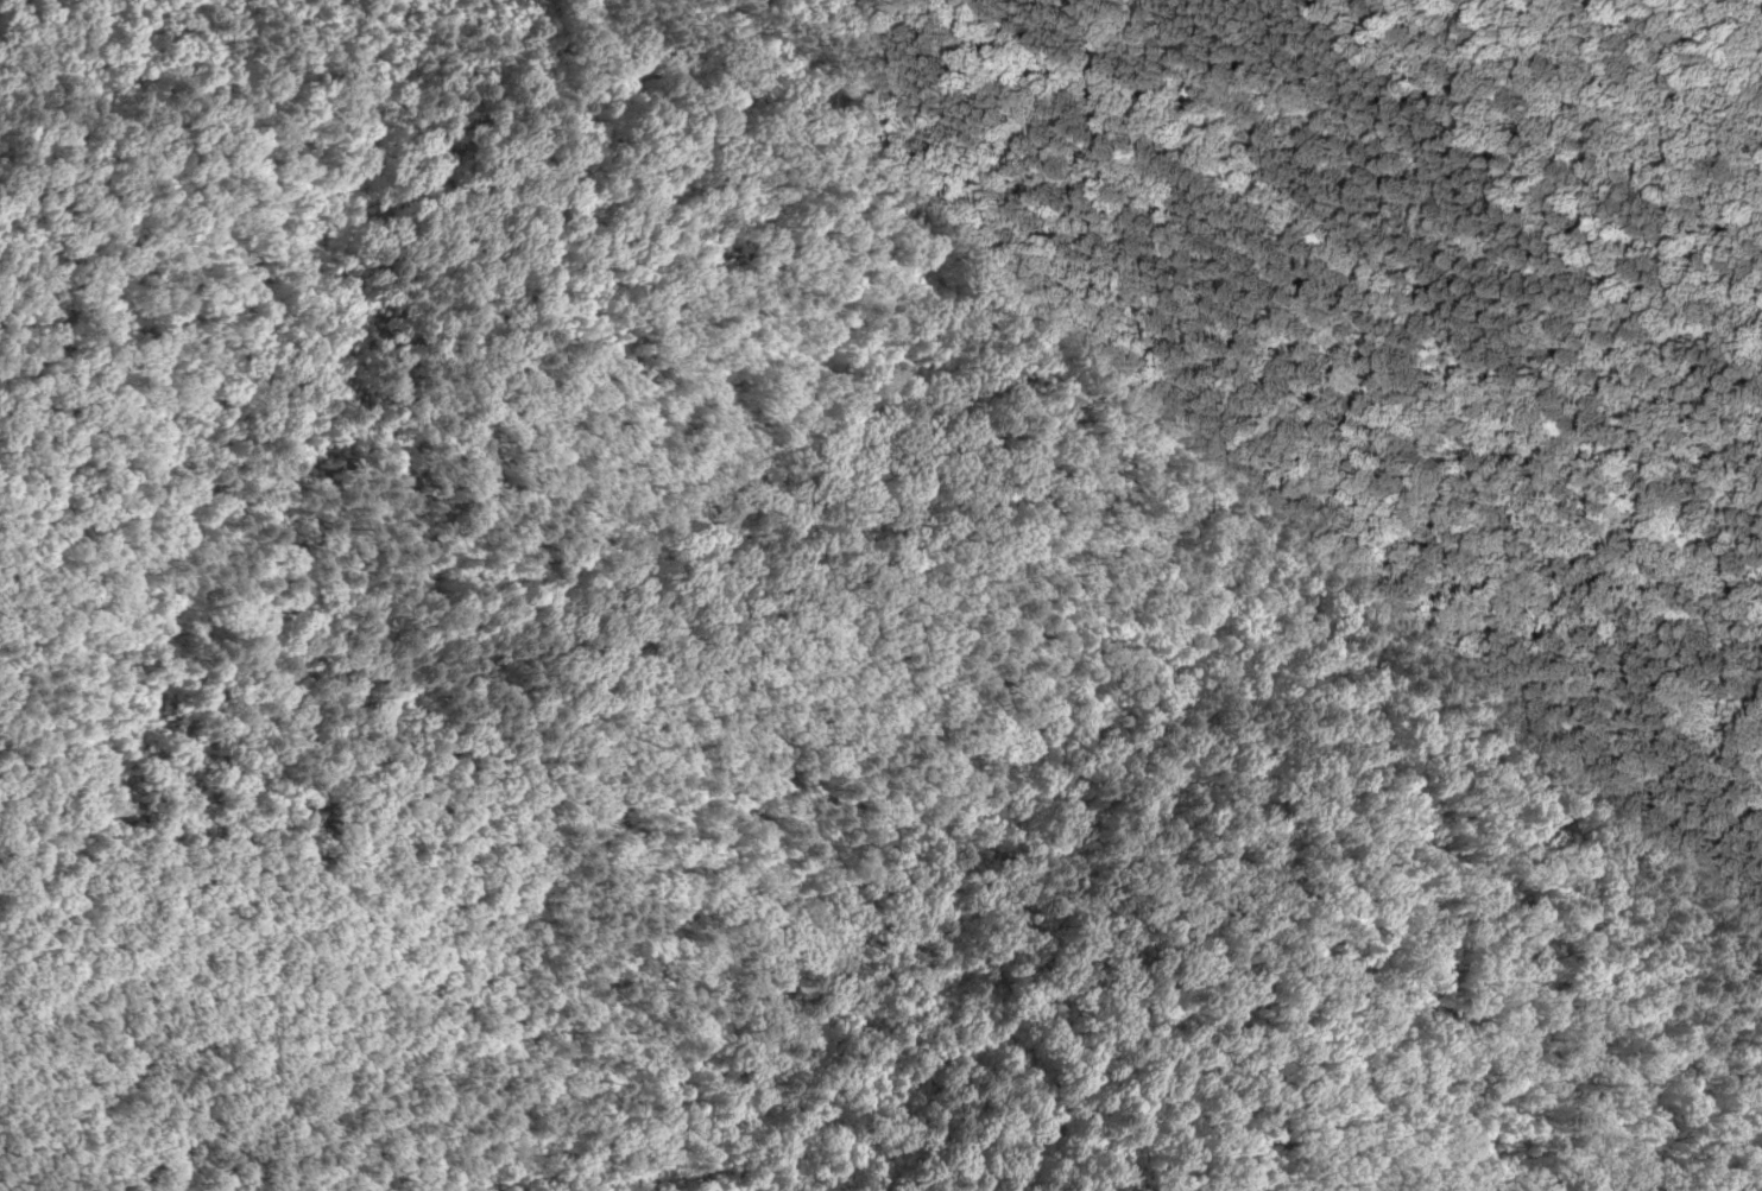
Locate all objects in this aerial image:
road: (1414, 386)

